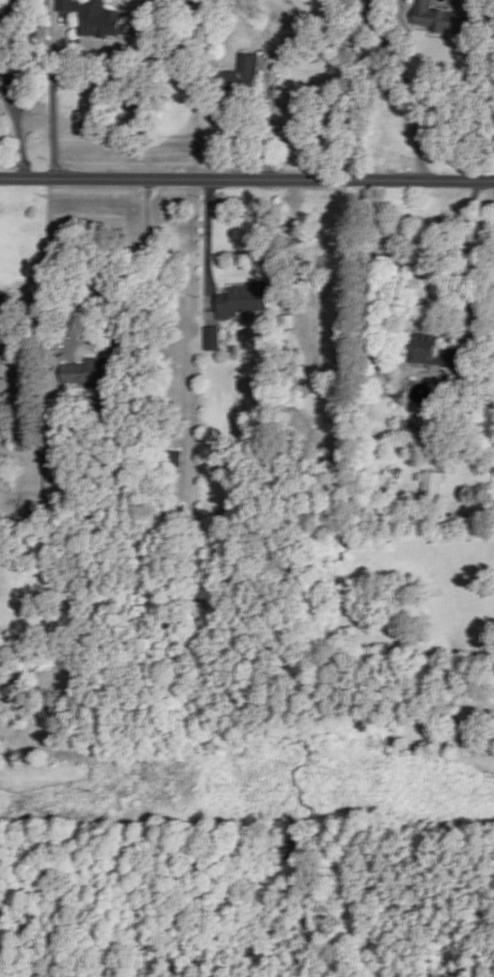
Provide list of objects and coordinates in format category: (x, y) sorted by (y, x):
building: (19, 4)
building: (448, 16)
building: (94, 17)
building: (241, 75)
road: (405, 98)
road: (53, 112)
road: (265, 123)
road: (17, 129)
road: (246, 181)
road: (207, 249)
road: (465, 272)
road: (147, 296)
building: (242, 300)
building: (2, 304)
building: (212, 339)
building: (431, 352)
building: (100, 372)
building: (431, 484)
power tower: (95, 789)

